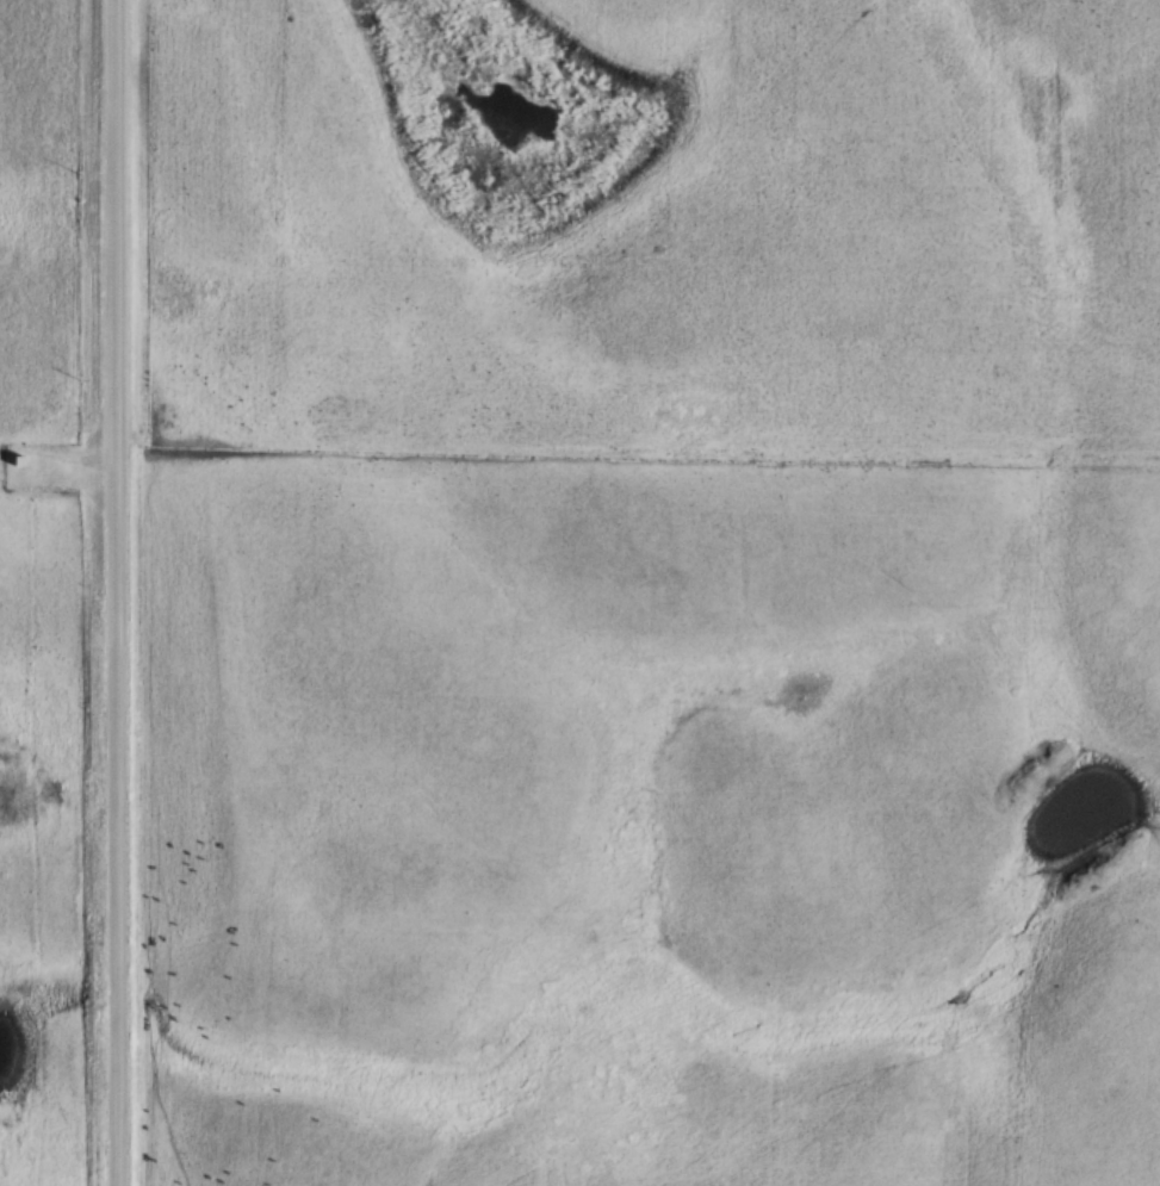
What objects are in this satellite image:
road: (132, 592)
river: (17, 1082)

